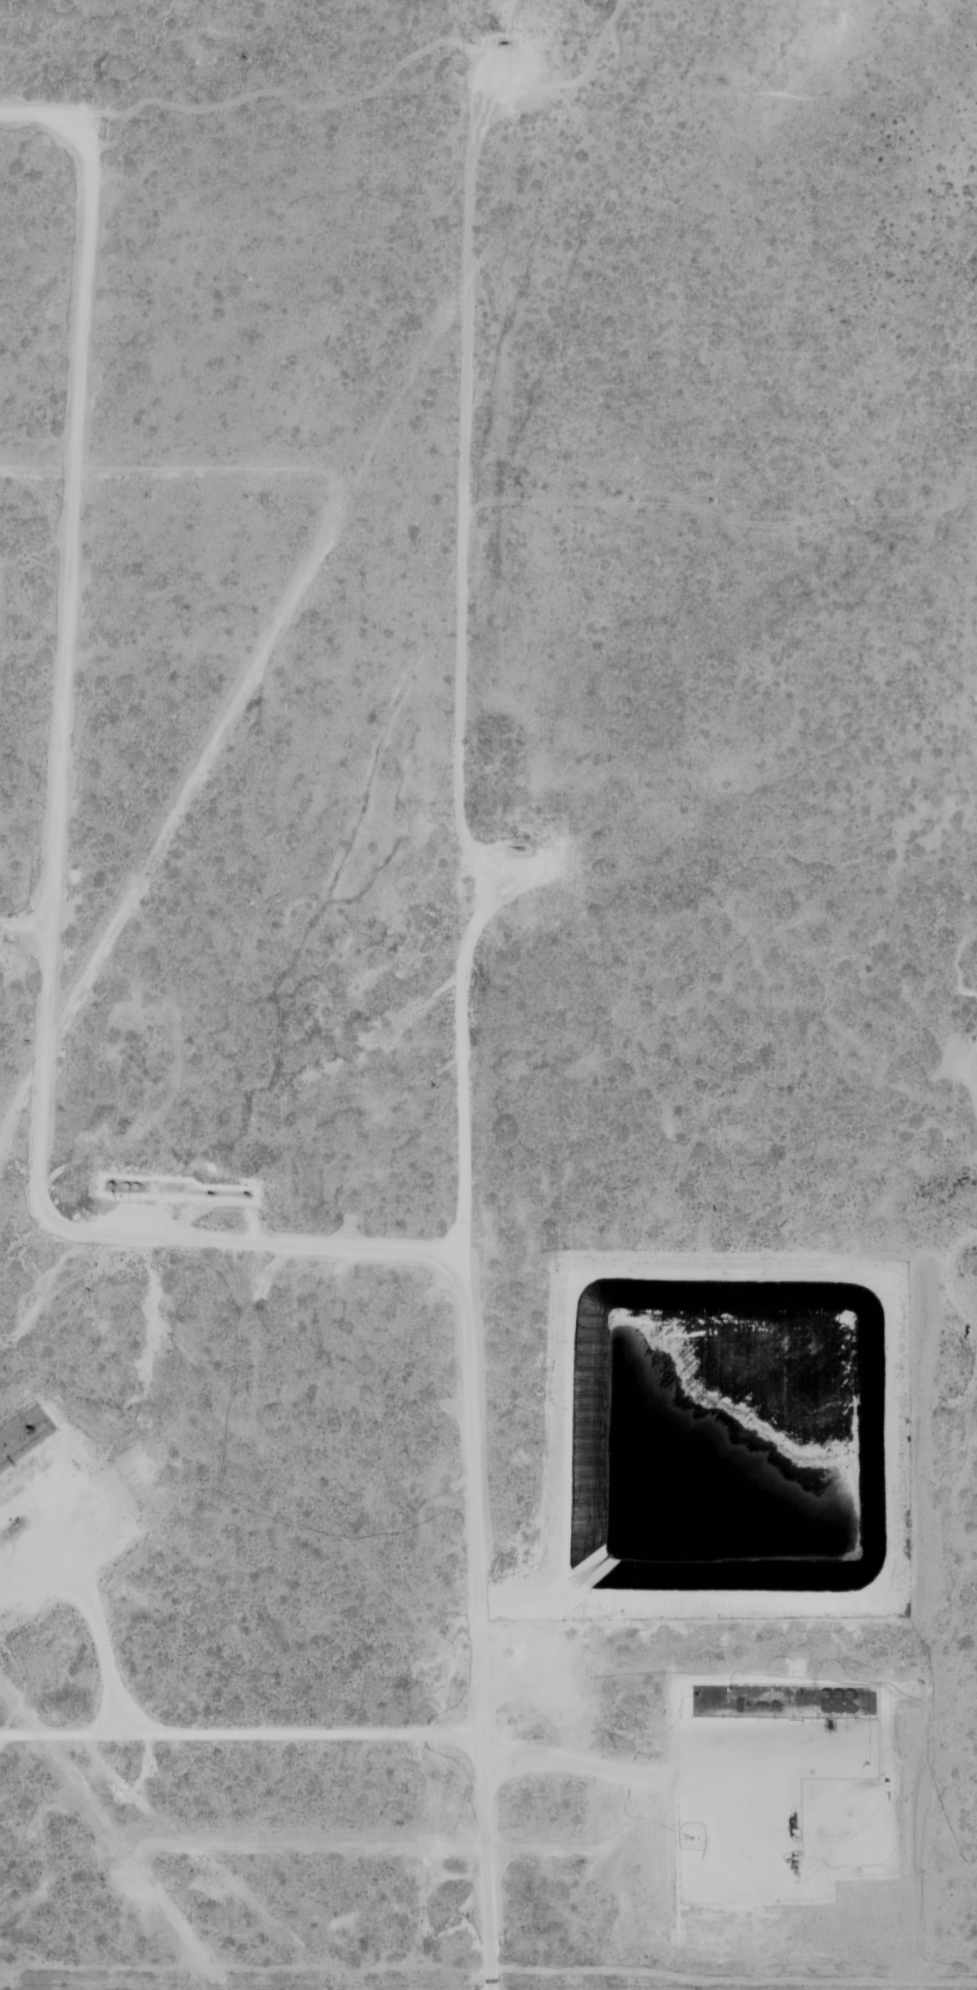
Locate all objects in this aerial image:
road: (408, 683)
road: (421, 1414)
road: (214, 1720)

